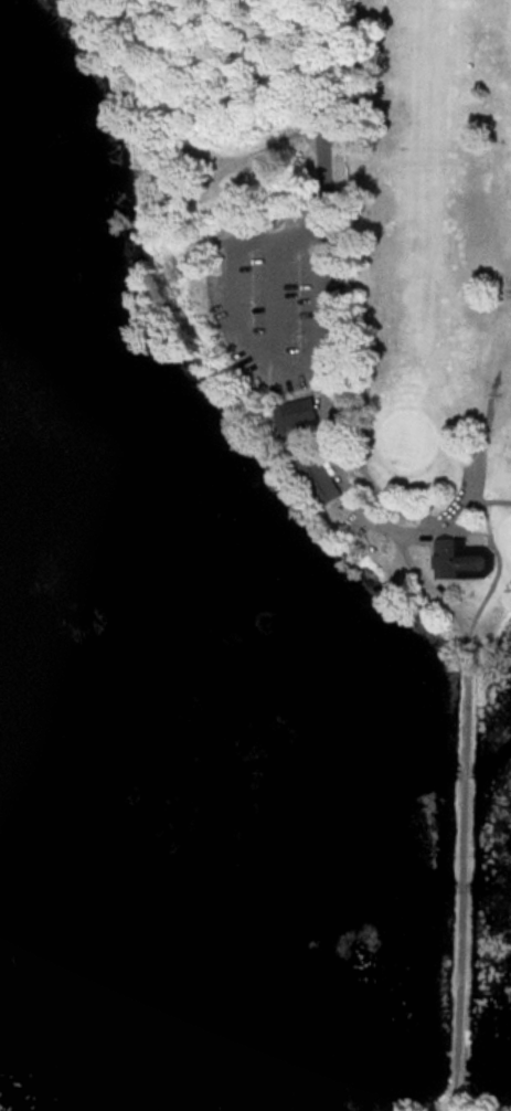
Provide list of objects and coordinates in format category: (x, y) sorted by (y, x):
road: (415, 157)
road: (226, 290)
parking lot: (272, 307)
road: (324, 327)
park: (397, 406)
building: (300, 416)
building: (321, 475)
building: (466, 561)
road: (480, 605)
road: (460, 891)
road: (455, 1110)

